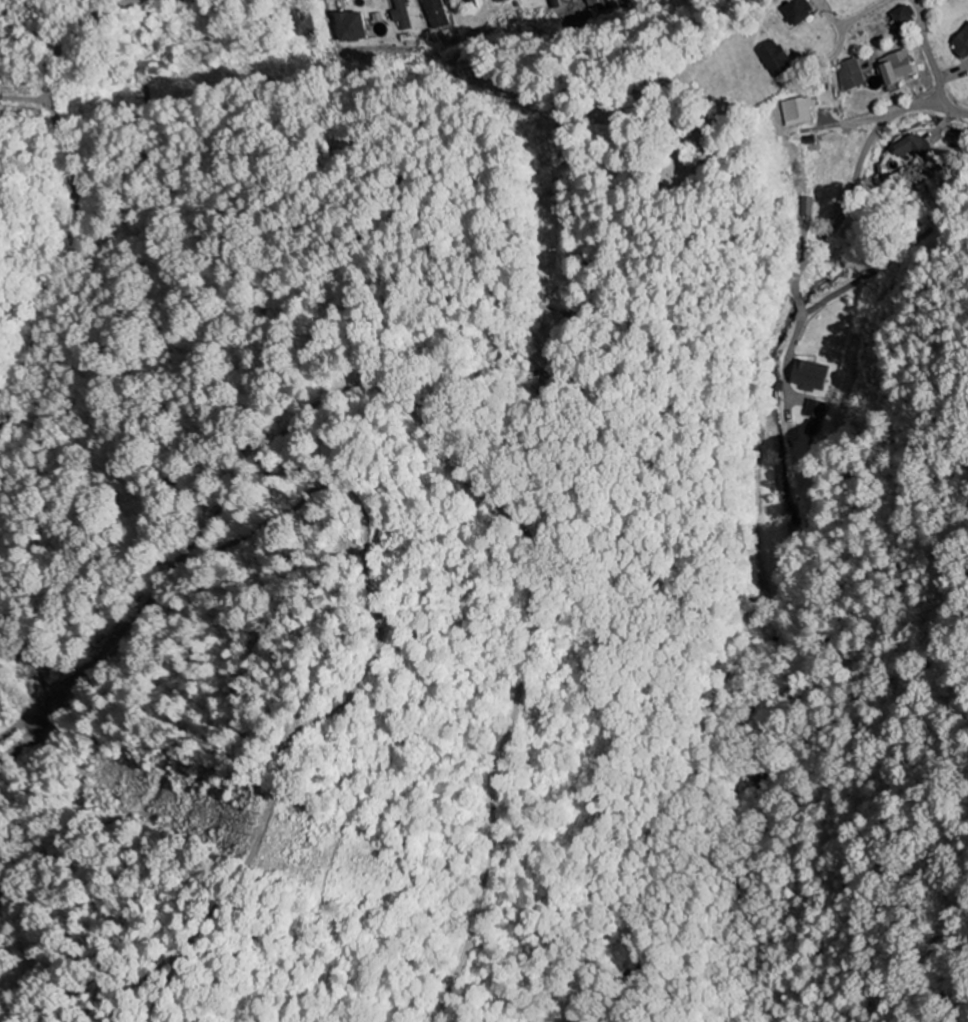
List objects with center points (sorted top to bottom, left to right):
building: (492, 0)
building: (461, 4)
building: (798, 10)
building: (396, 14)
building: (432, 15)
building: (903, 16)
road: (851, 22)
building: (343, 27)
building: (962, 44)
road: (928, 53)
building: (774, 58)
building: (897, 69)
building: (851, 74)
building: (798, 111)
road: (855, 123)
building: (915, 150)
park: (606, 166)
building: (881, 173)
road: (851, 183)
building: (806, 206)
building: (807, 375)
building: (812, 408)

